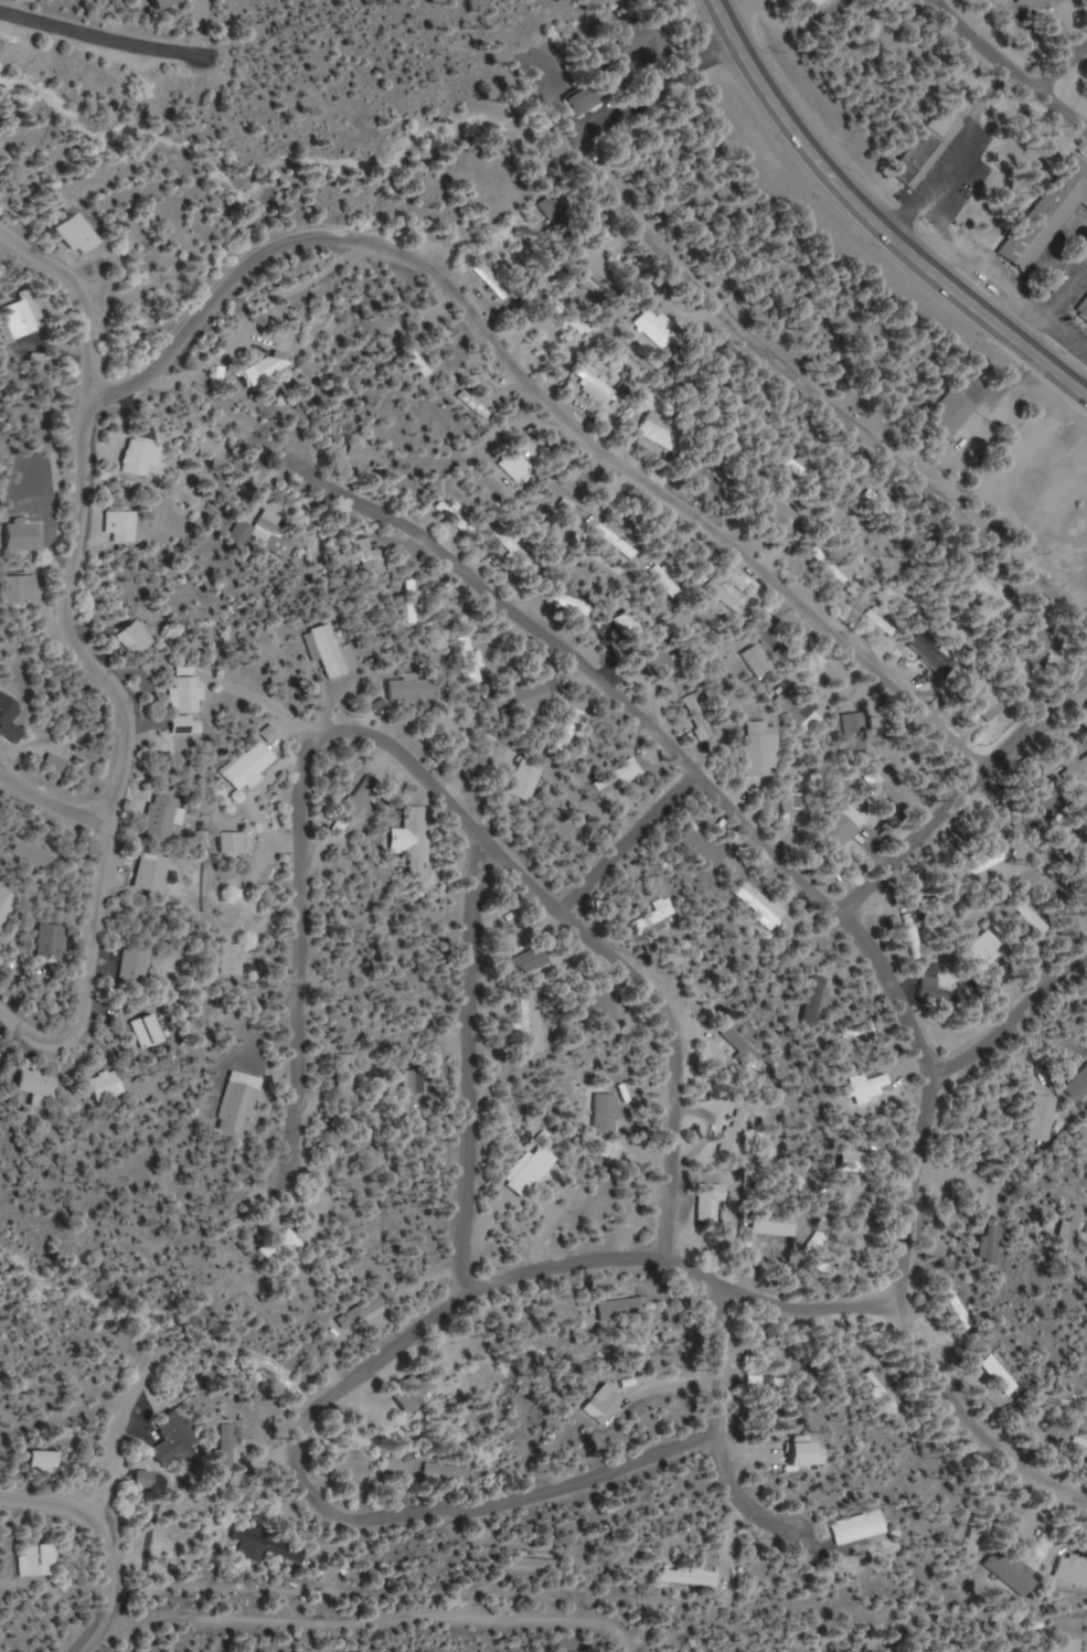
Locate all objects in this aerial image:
building: (1033, 0)
building: (169, 3)
road: (202, 28)
road: (104, 34)
building: (639, 38)
road: (1008, 64)
road: (1064, 70)
road: (651, 83)
building: (598, 88)
road: (554, 98)
building: (925, 148)
building: (1045, 213)
road: (871, 222)
building: (78, 234)
building: (490, 276)
building: (1081, 306)
building: (21, 317)
building: (657, 329)
building: (266, 367)
building: (594, 381)
road: (814, 388)
road: (546, 395)
building: (953, 413)
building: (363, 454)
building: (717, 455)
building: (140, 456)
building: (515, 462)
building: (801, 463)
building: (1034, 482)
building: (568, 491)
building: (785, 512)
building: (264, 523)
building: (122, 524)
building: (28, 533)
building: (514, 546)
building: (626, 546)
building: (365, 555)
building: (670, 582)
building: (21, 588)
building: (572, 594)
building: (729, 596)
building: (991, 596)
building: (416, 604)
building: (884, 622)
building: (136, 638)
building: (1034, 648)
building: (332, 650)
building: (937, 657)
building: (472, 659)
road: (93, 661)
building: (759, 661)
building: (667, 662)
road: (584, 669)
building: (414, 688)
building: (189, 694)
building: (532, 694)
building: (990, 697)
building: (799, 710)
building: (10, 715)
building: (703, 715)
building: (572, 725)
building: (856, 731)
building: (765, 747)
building: (252, 766)
building: (620, 775)
building: (527, 779)
road: (431, 789)
road: (966, 791)
road: (54, 801)
building: (793, 801)
building: (164, 817)
building: (853, 833)
building: (416, 835)
building: (235, 841)
road: (631, 841)
building: (705, 845)
building: (989, 856)
building: (157, 871)
building: (7, 904)
building: (759, 904)
building: (1025, 910)
building: (651, 919)
building: (915, 935)
building: (53, 940)
building: (985, 949)
building: (234, 959)
building: (533, 961)
building: (137, 967)
building: (941, 992)
building: (612, 1012)
road: (1015, 1016)
building: (535, 1027)
building: (151, 1031)
building: (862, 1031)
building: (748, 1047)
road: (470, 1062)
building: (354, 1075)
building: (42, 1083)
building: (110, 1085)
building: (872, 1086)
building: (1077, 1086)
building: (414, 1088)
building: (242, 1106)
building: (609, 1113)
building: (1041, 1118)
building: (738, 1133)
building: (857, 1161)
building: (535, 1171)
building: (713, 1200)
building: (599, 1201)
road: (912, 1229)
building: (1070, 1230)
building: (822, 1243)
building: (990, 1244)
building: (285, 1246)
building: (624, 1309)
building: (365, 1312)
building: (965, 1313)
building: (1004, 1375)
building: (765, 1378)
building: (892, 1396)
building: (413, 1398)
building: (603, 1404)
road: (311, 1415)
road: (118, 1431)
building: (177, 1437)
building: (1081, 1449)
building: (811, 1453)
building: (45, 1460)
building: (449, 1470)
building: (148, 1480)
road: (743, 1495)
road: (103, 1518)
building: (864, 1530)
building: (269, 1546)
building: (41, 1560)
building: (535, 1563)
building: (1072, 1570)
building: (1013, 1571)
building: (692, 1577)
road: (377, 1621)
road: (96, 1637)
building: (910, 1651)

